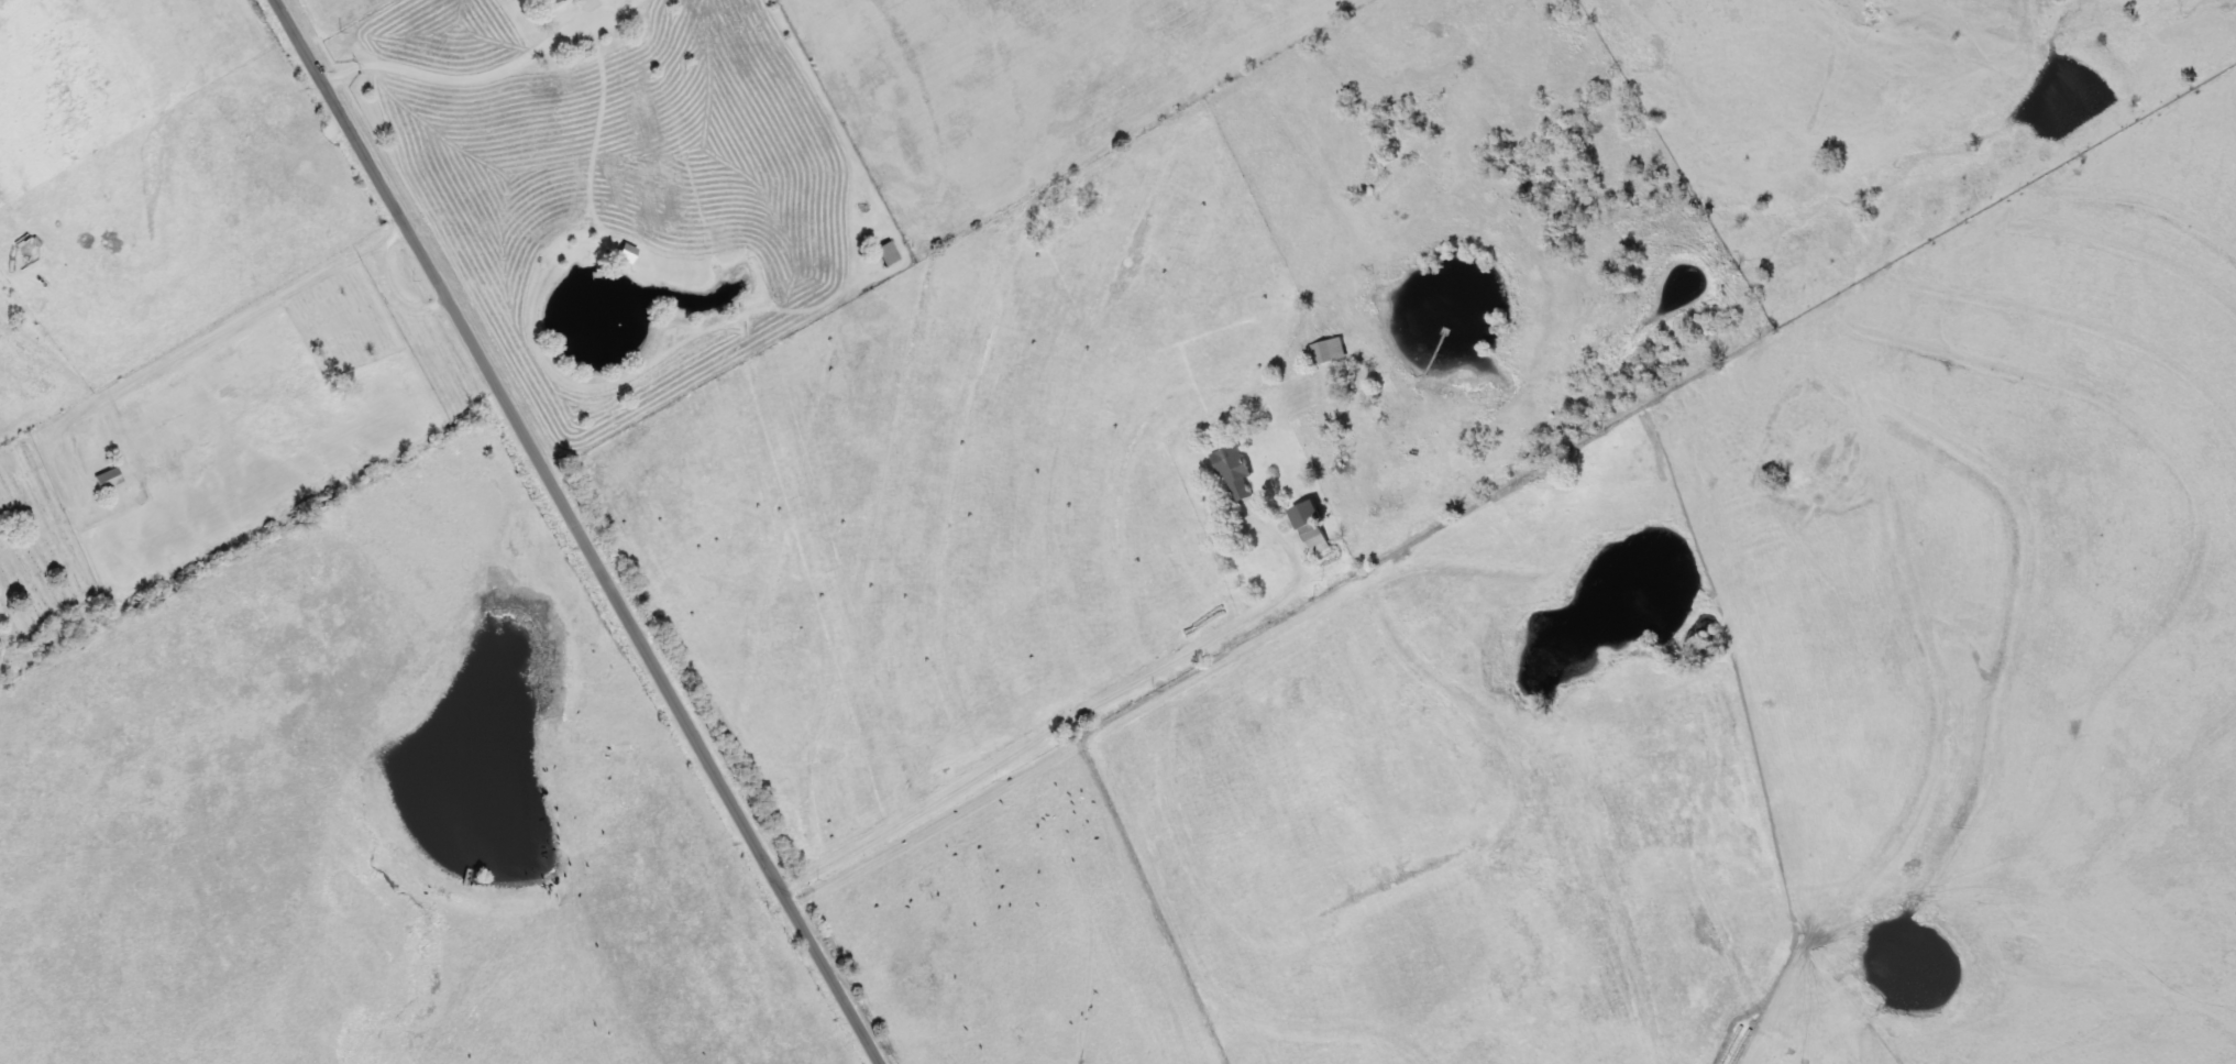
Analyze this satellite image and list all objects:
building: (552, 0)
building: (627, 251)
building: (888, 251)
road: (234, 329)
building: (1329, 350)
building: (1235, 472)
building: (109, 476)
building: (1312, 526)
road: (579, 530)
park: (35, 546)
road: (1057, 735)

